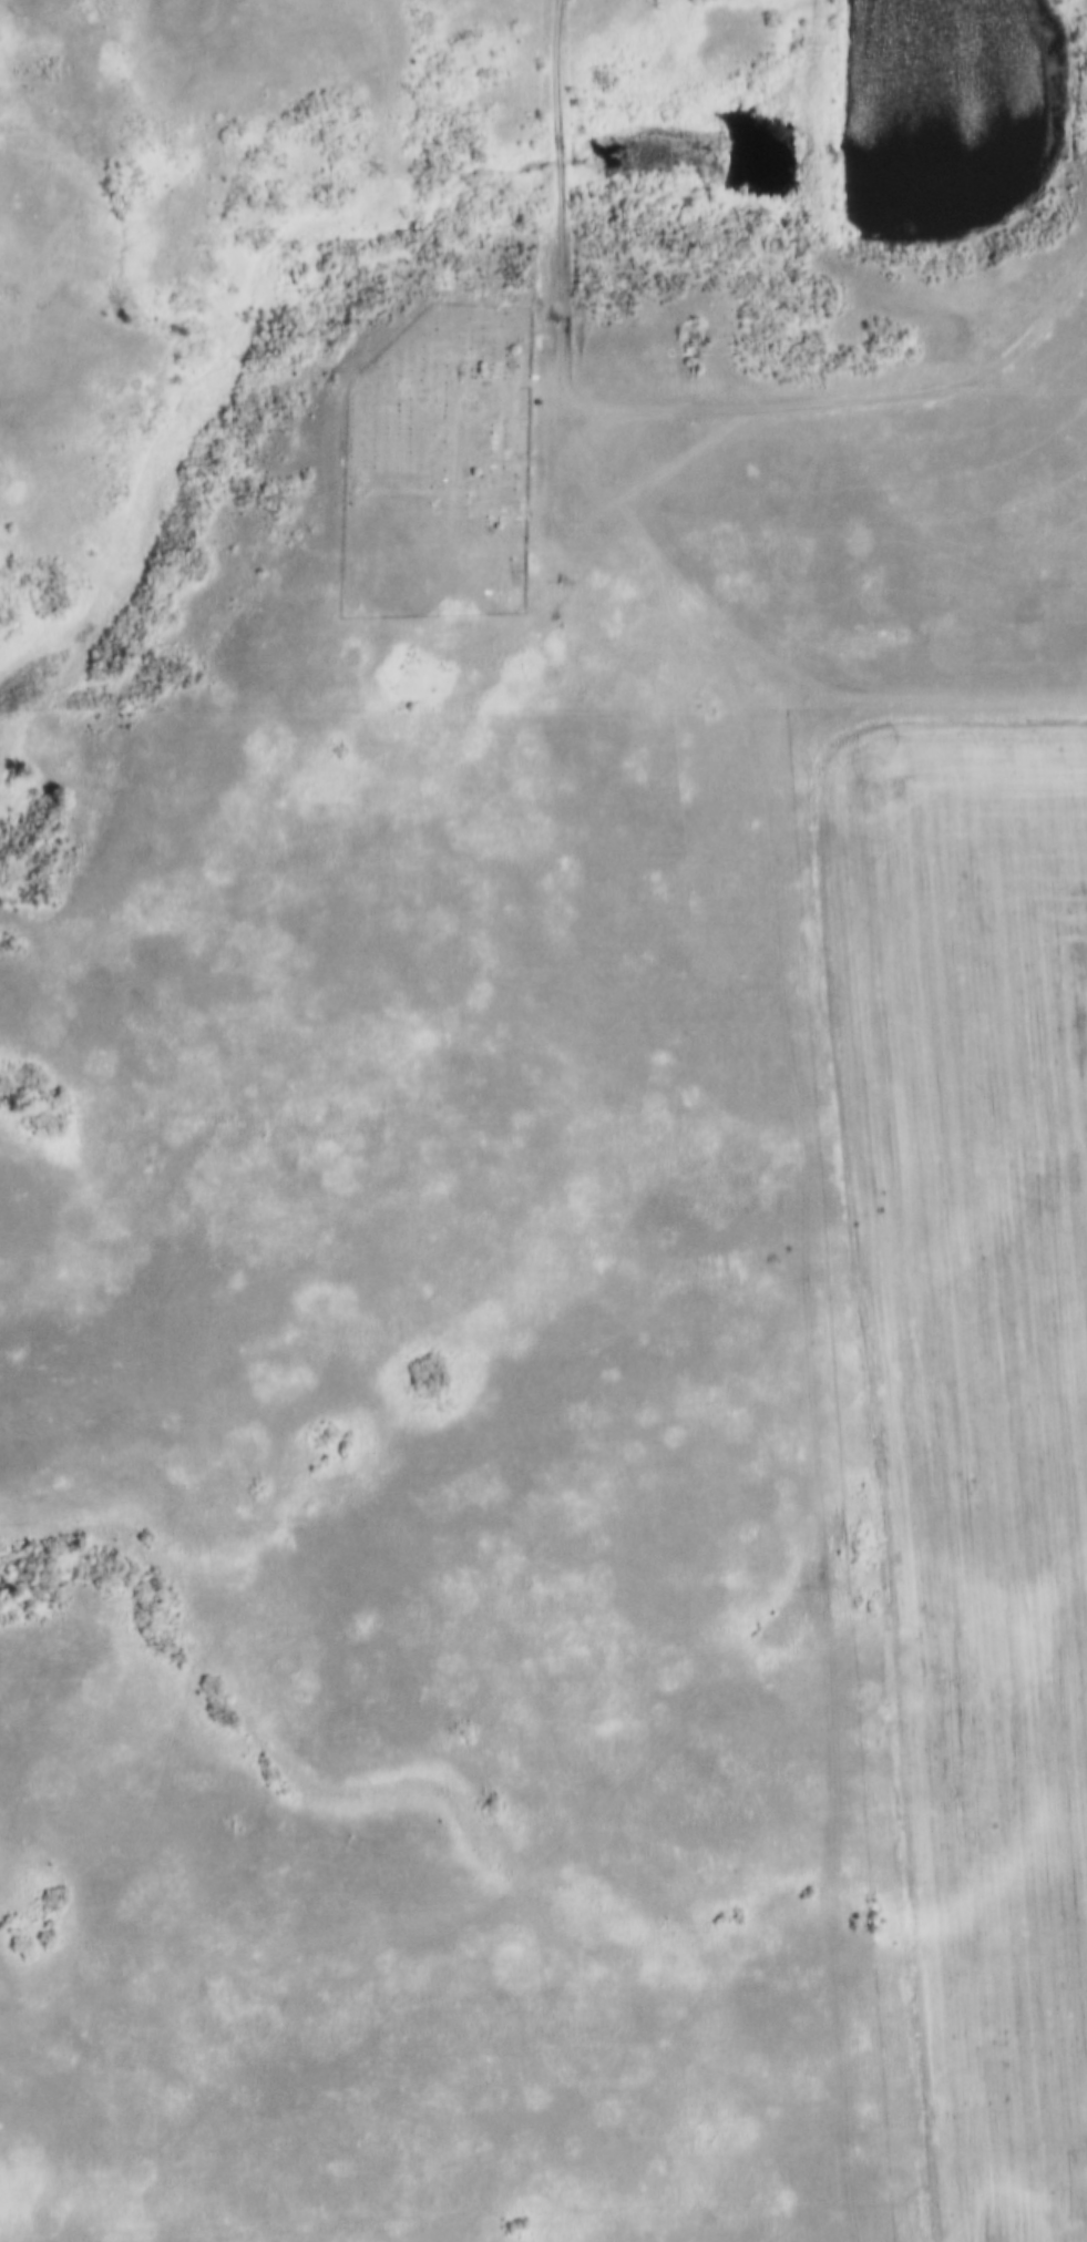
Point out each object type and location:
building: (696, 339)
road: (656, 410)
park: (448, 463)

